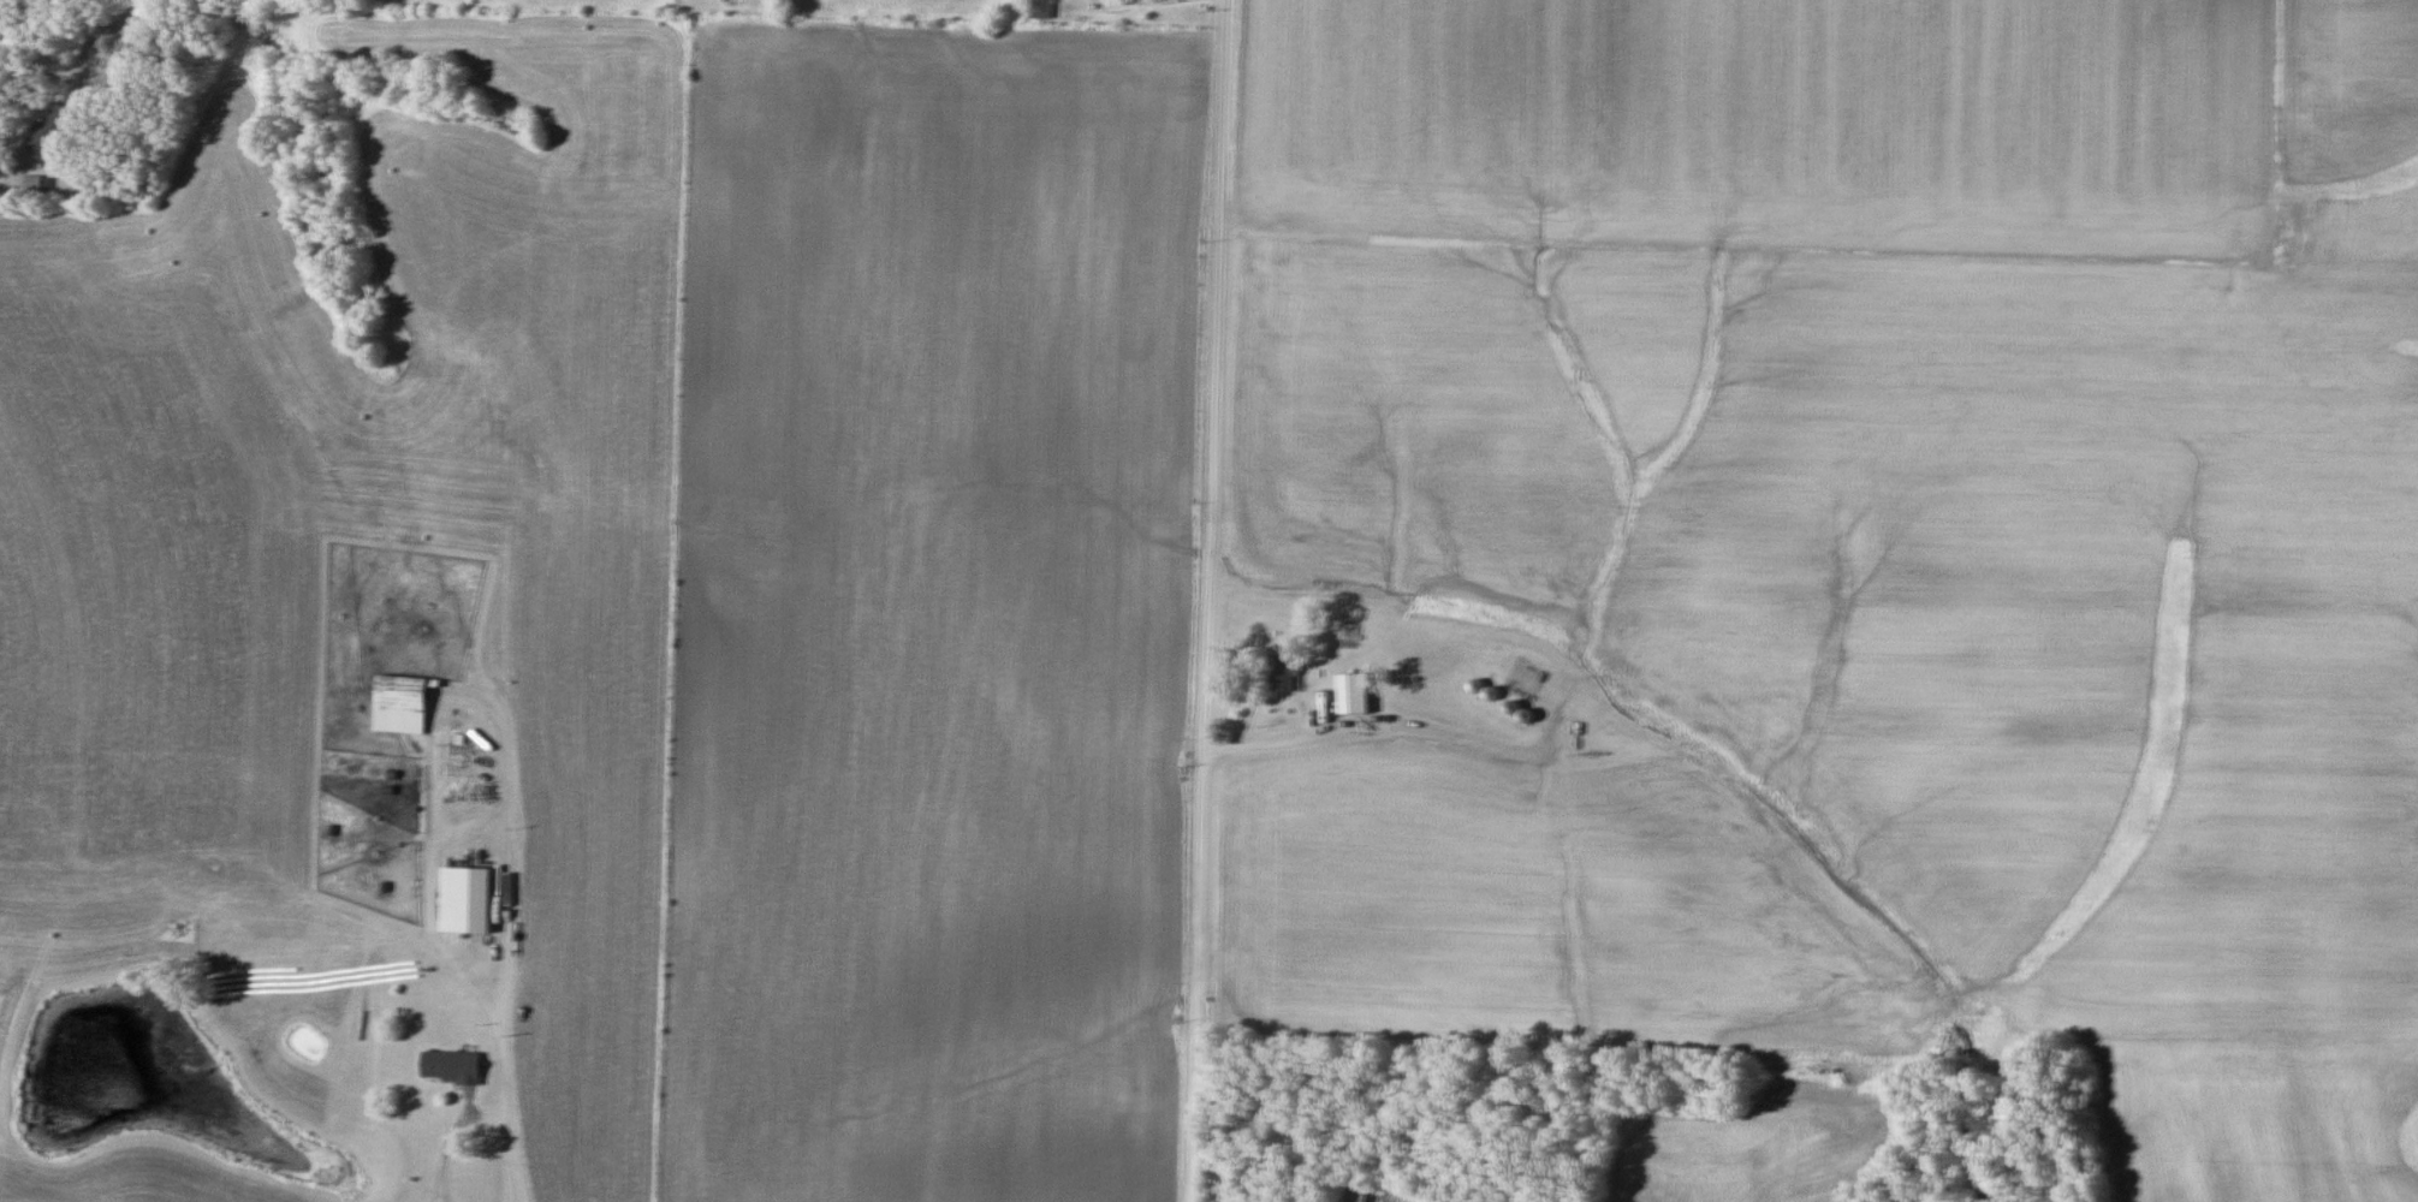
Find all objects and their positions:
building: (1042, 8)
building: (52, 129)
road: (14, 157)
road: (1205, 601)
building: (1284, 673)
building: (1354, 694)
building: (400, 706)
building: (468, 900)
road: (497, 1001)
building: (451, 1066)
road: (453, 1135)
building: (1353, 1192)

